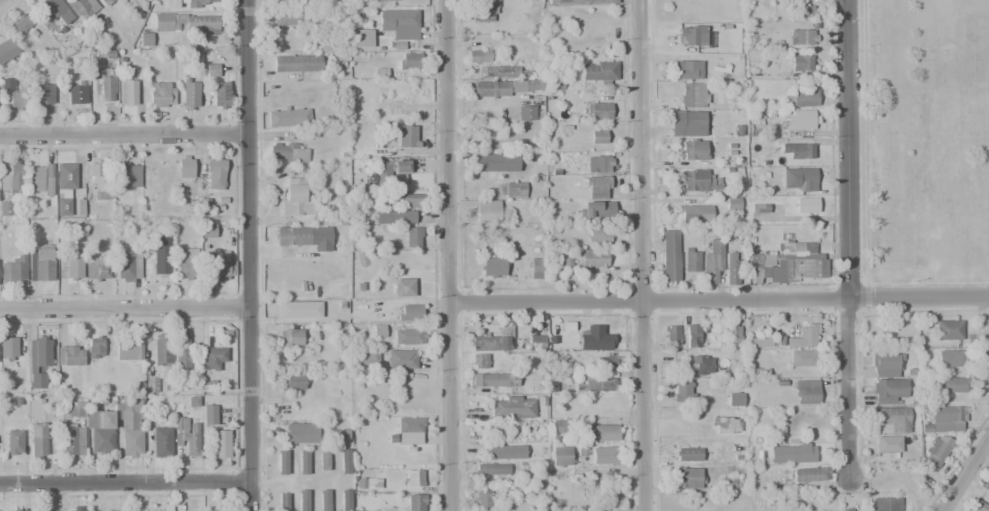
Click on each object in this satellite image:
building: (373, 0)
building: (291, 1)
building: (106, 2)
building: (581, 2)
building: (200, 3)
building: (172, 4)
building: (82, 7)
building: (49, 9)
building: (804, 10)
building: (482, 11)
building: (287, 17)
building: (165, 22)
building: (22, 23)
building: (399, 23)
building: (201, 26)
building: (691, 36)
building: (801, 37)
building: (362, 38)
building: (145, 39)
building: (6, 49)
building: (477, 56)
building: (190, 58)
building: (409, 60)
building: (296, 63)
building: (800, 63)
building: (211, 70)
building: (687, 70)
building: (511, 71)
building: (597, 71)
building: (106, 75)
building: (555, 82)
building: (504, 87)
building: (76, 92)
building: (127, 92)
building: (44, 94)
building: (161, 94)
building: (190, 94)
building: (221, 94)
building: (693, 95)
building: (19, 98)
building: (802, 98)
building: (598, 109)
building: (525, 113)
building: (288, 117)
building: (797, 120)
building: (688, 122)
road: (122, 130)
building: (406, 136)
building: (597, 137)
building: (693, 150)
building: (798, 150)
building: (287, 152)
building: (492, 162)
building: (601, 164)
building: (184, 166)
building: (214, 172)
building: (391, 173)
building: (127, 175)
building: (11, 177)
building: (40, 179)
building: (798, 179)
building: (100, 180)
building: (698, 180)
building: (597, 186)
building: (64, 187)
building: (510, 190)
building: (295, 199)
building: (405, 200)
building: (731, 203)
building: (805, 205)
building: (6, 208)
building: (761, 208)
building: (596, 210)
building: (487, 211)
building: (693, 213)
building: (394, 216)
building: (207, 230)
building: (597, 233)
building: (304, 237)
building: (411, 237)
road: (846, 241)
road: (247, 255)
road: (449, 255)
road: (640, 255)
building: (669, 255)
building: (593, 258)
building: (156, 260)
building: (689, 261)
building: (799, 262)
building: (565, 263)
building: (187, 264)
building: (712, 264)
building: (40, 265)
building: (218, 265)
building: (69, 266)
building: (127, 266)
building: (762, 266)
building: (96, 267)
building: (493, 267)
building: (535, 268)
building: (730, 268)
building: (13, 270)
building: (403, 287)
road: (719, 302)
road: (124, 308)
building: (296, 310)
building: (409, 313)
building: (948, 329)
building: (398, 335)
building: (670, 335)
building: (692, 335)
building: (715, 335)
building: (733, 335)
building: (291, 336)
building: (803, 336)
building: (595, 338)
building: (483, 341)
building: (504, 341)
building: (533, 342)
building: (758, 342)
building: (13, 347)
building: (95, 347)
building: (160, 349)
building: (128, 350)
building: (181, 353)
building: (69, 355)
building: (365, 356)
building: (214, 358)
building: (555, 358)
building: (799, 358)
building: (950, 358)
building: (36, 359)
building: (401, 359)
building: (479, 361)
building: (607, 361)
building: (701, 365)
building: (886, 365)
building: (492, 379)
building: (291, 382)
building: (594, 382)
building: (952, 384)
building: (150, 385)
building: (889, 387)
building: (682, 391)
building: (805, 392)
building: (734, 399)
building: (74, 409)
building: (512, 409)
building: (540, 409)
building: (130, 413)
building: (209, 414)
building: (99, 417)
building: (945, 419)
building: (890, 421)
building: (728, 425)
building: (559, 426)
building: (409, 429)
building: (301, 432)
building: (601, 432)
building: (186, 434)
building: (37, 440)
building: (73, 440)
building: (102, 441)
building: (14, 442)
building: (161, 442)
building: (131, 443)
building: (220, 443)
building: (887, 444)
building: (936, 451)
building: (500, 452)
building: (792, 453)
building: (563, 454)
building: (687, 454)
building: (603, 455)
building: (323, 461)
building: (344, 461)
building: (282, 462)
building: (303, 462)
building: (490, 469)
building: (810, 474)
road: (964, 474)
building: (413, 478)
building: (686, 478)
road: (123, 481)
building: (367, 483)
building: (729, 483)
building: (988, 486)
building: (988, 488)
building: (482, 498)
building: (303, 500)
building: (324, 500)
building: (283, 502)
building: (345, 502)
building: (415, 502)
building: (884, 504)
building: (978, 506)
building: (164, 507)
building: (75, 508)
building: (16, 509)
building: (120, 510)
building: (849, 510)

